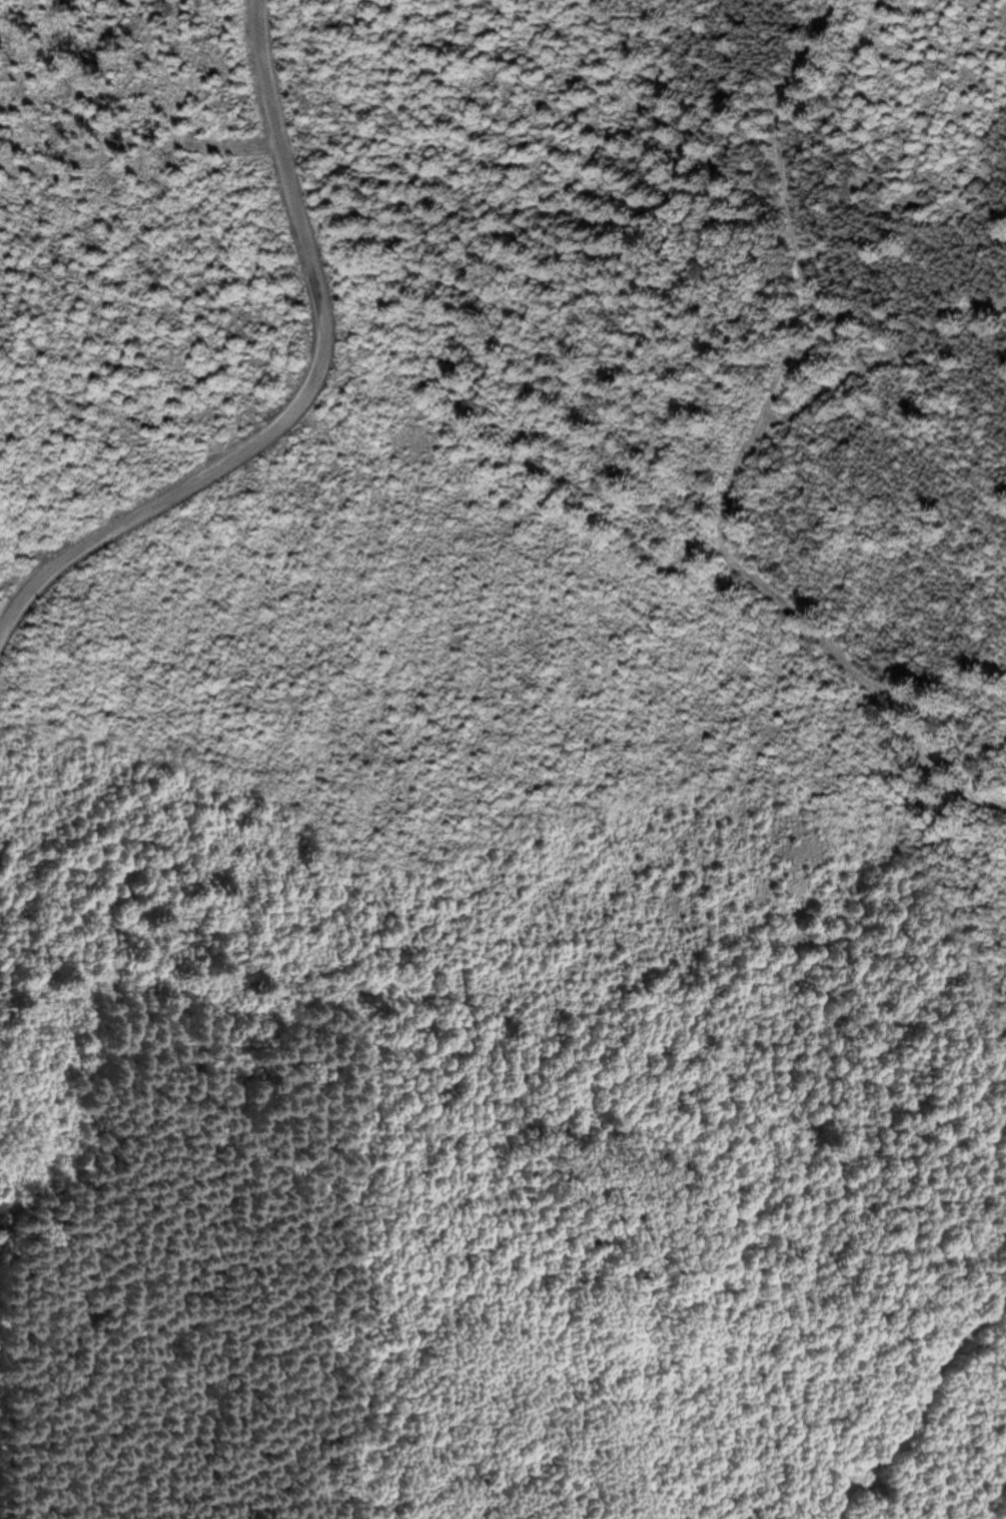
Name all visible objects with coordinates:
road: (296, 387)

